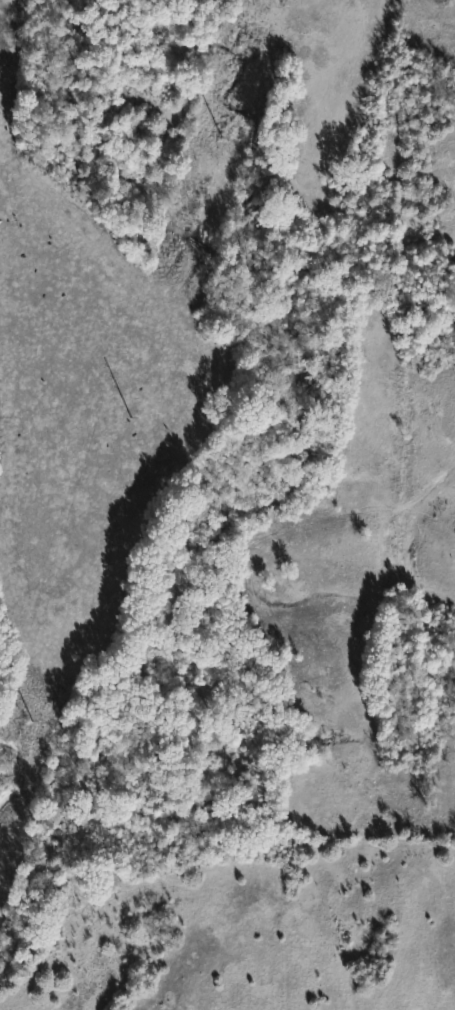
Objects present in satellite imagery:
power tower: (228, 144)
power tower: (144, 410)
power tower: (51, 705)

